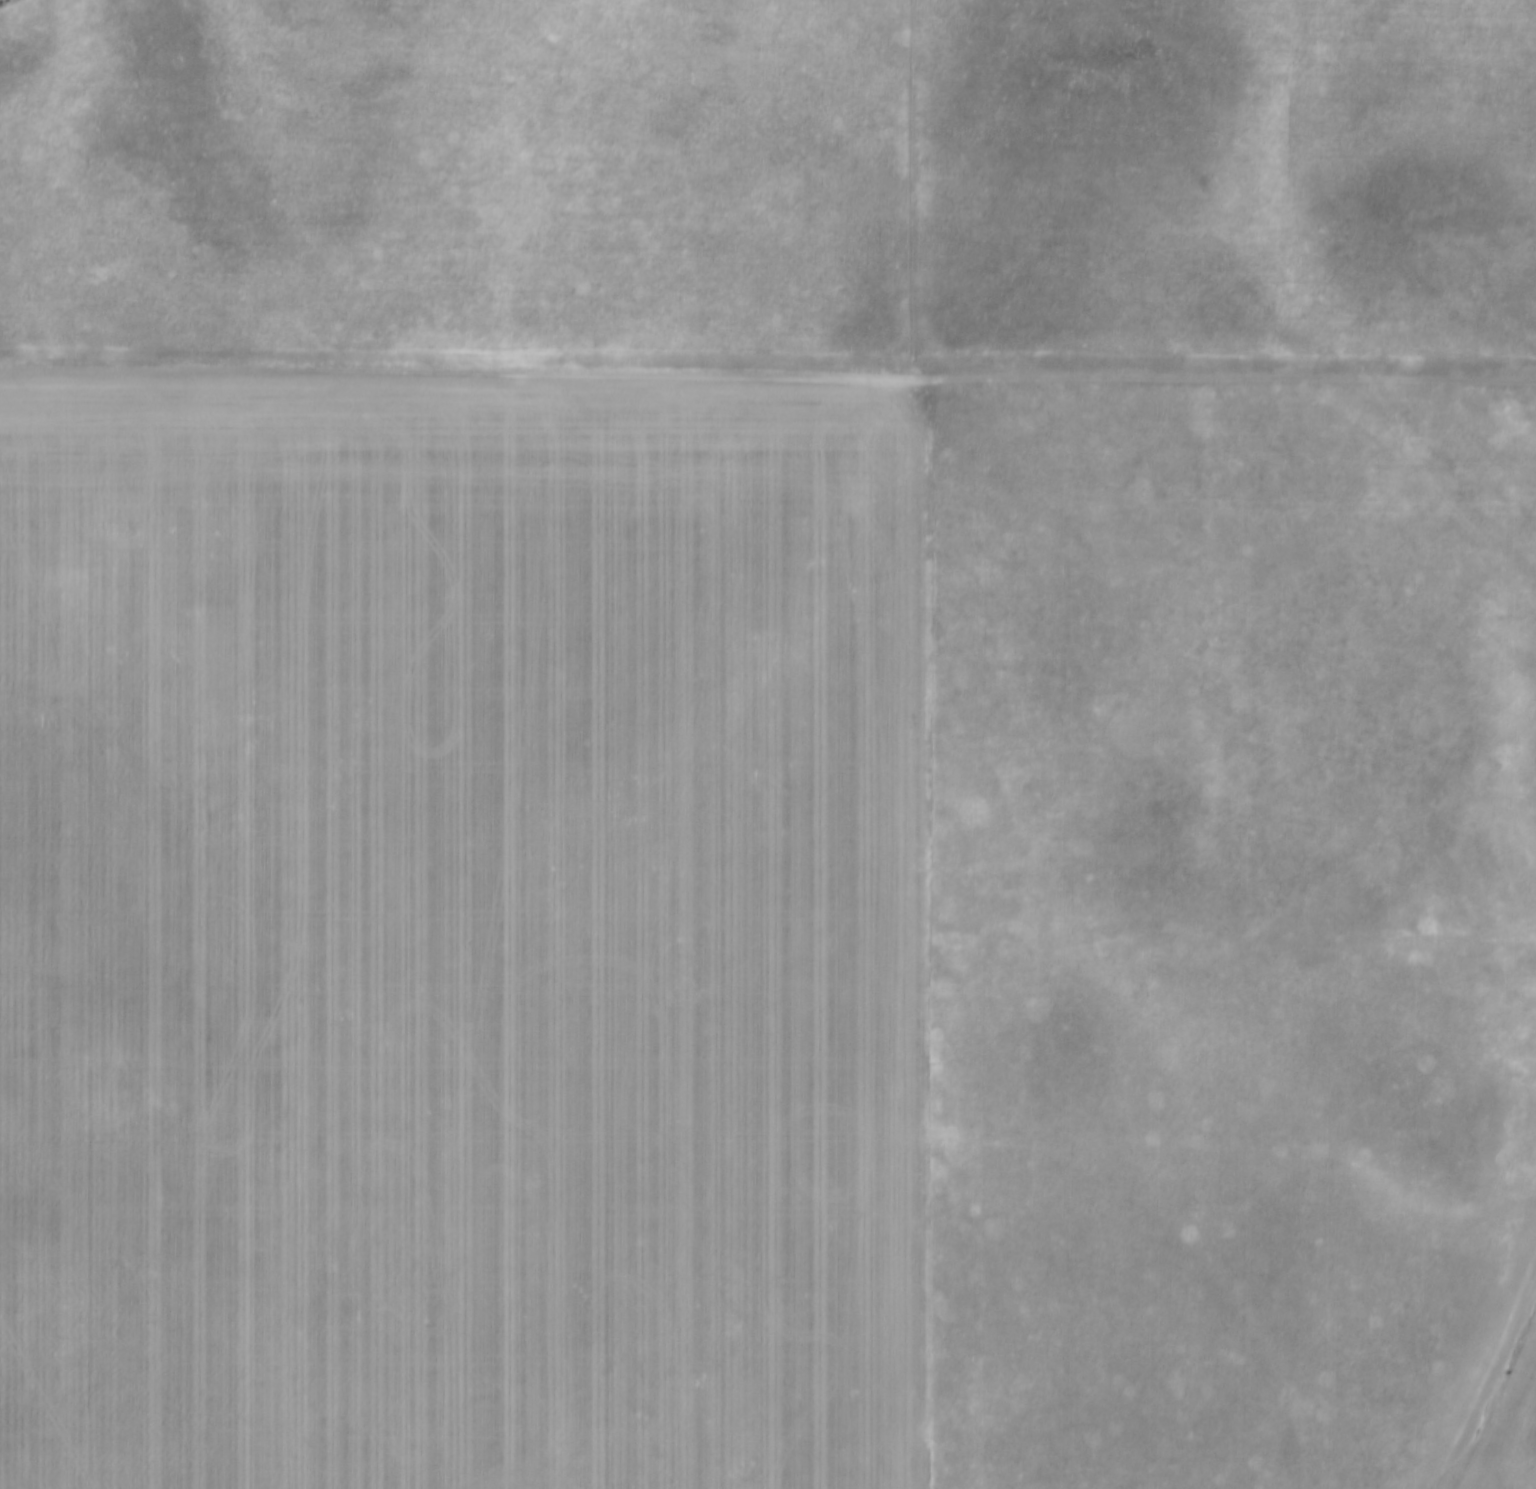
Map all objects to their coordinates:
road: (768, 386)
road: (930, 742)

